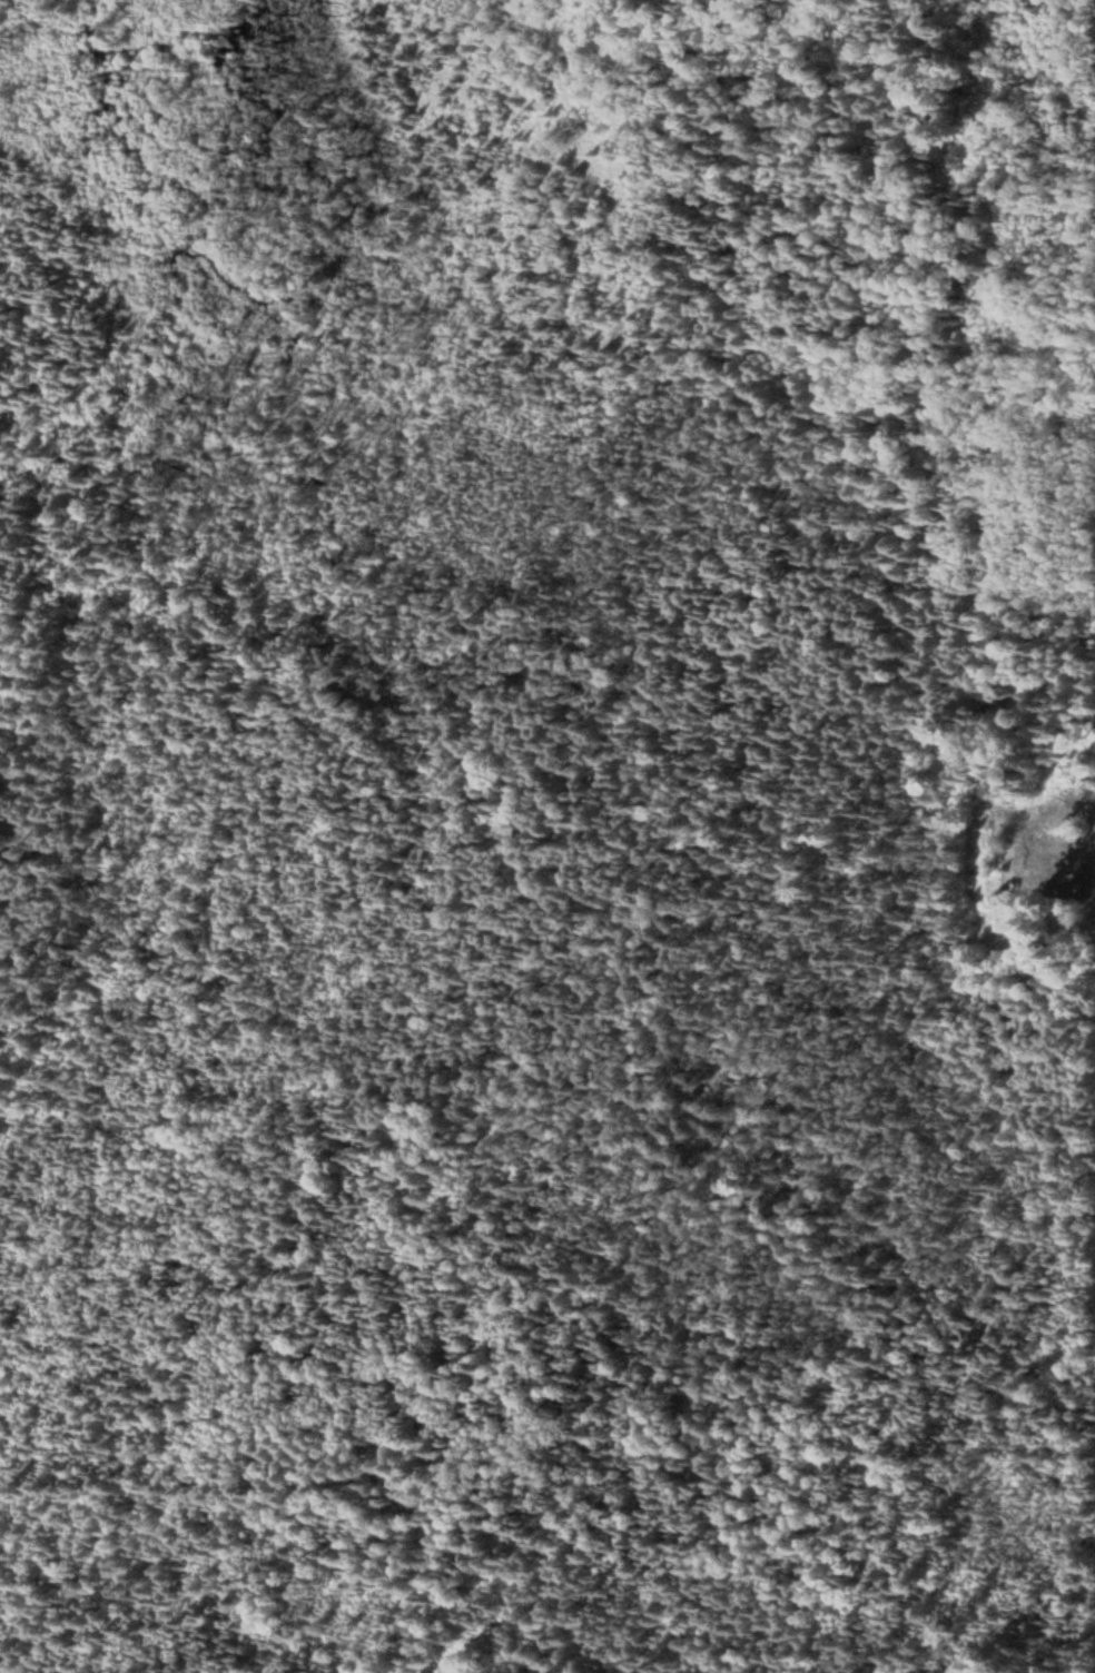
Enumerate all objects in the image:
building: (1010, 863)

